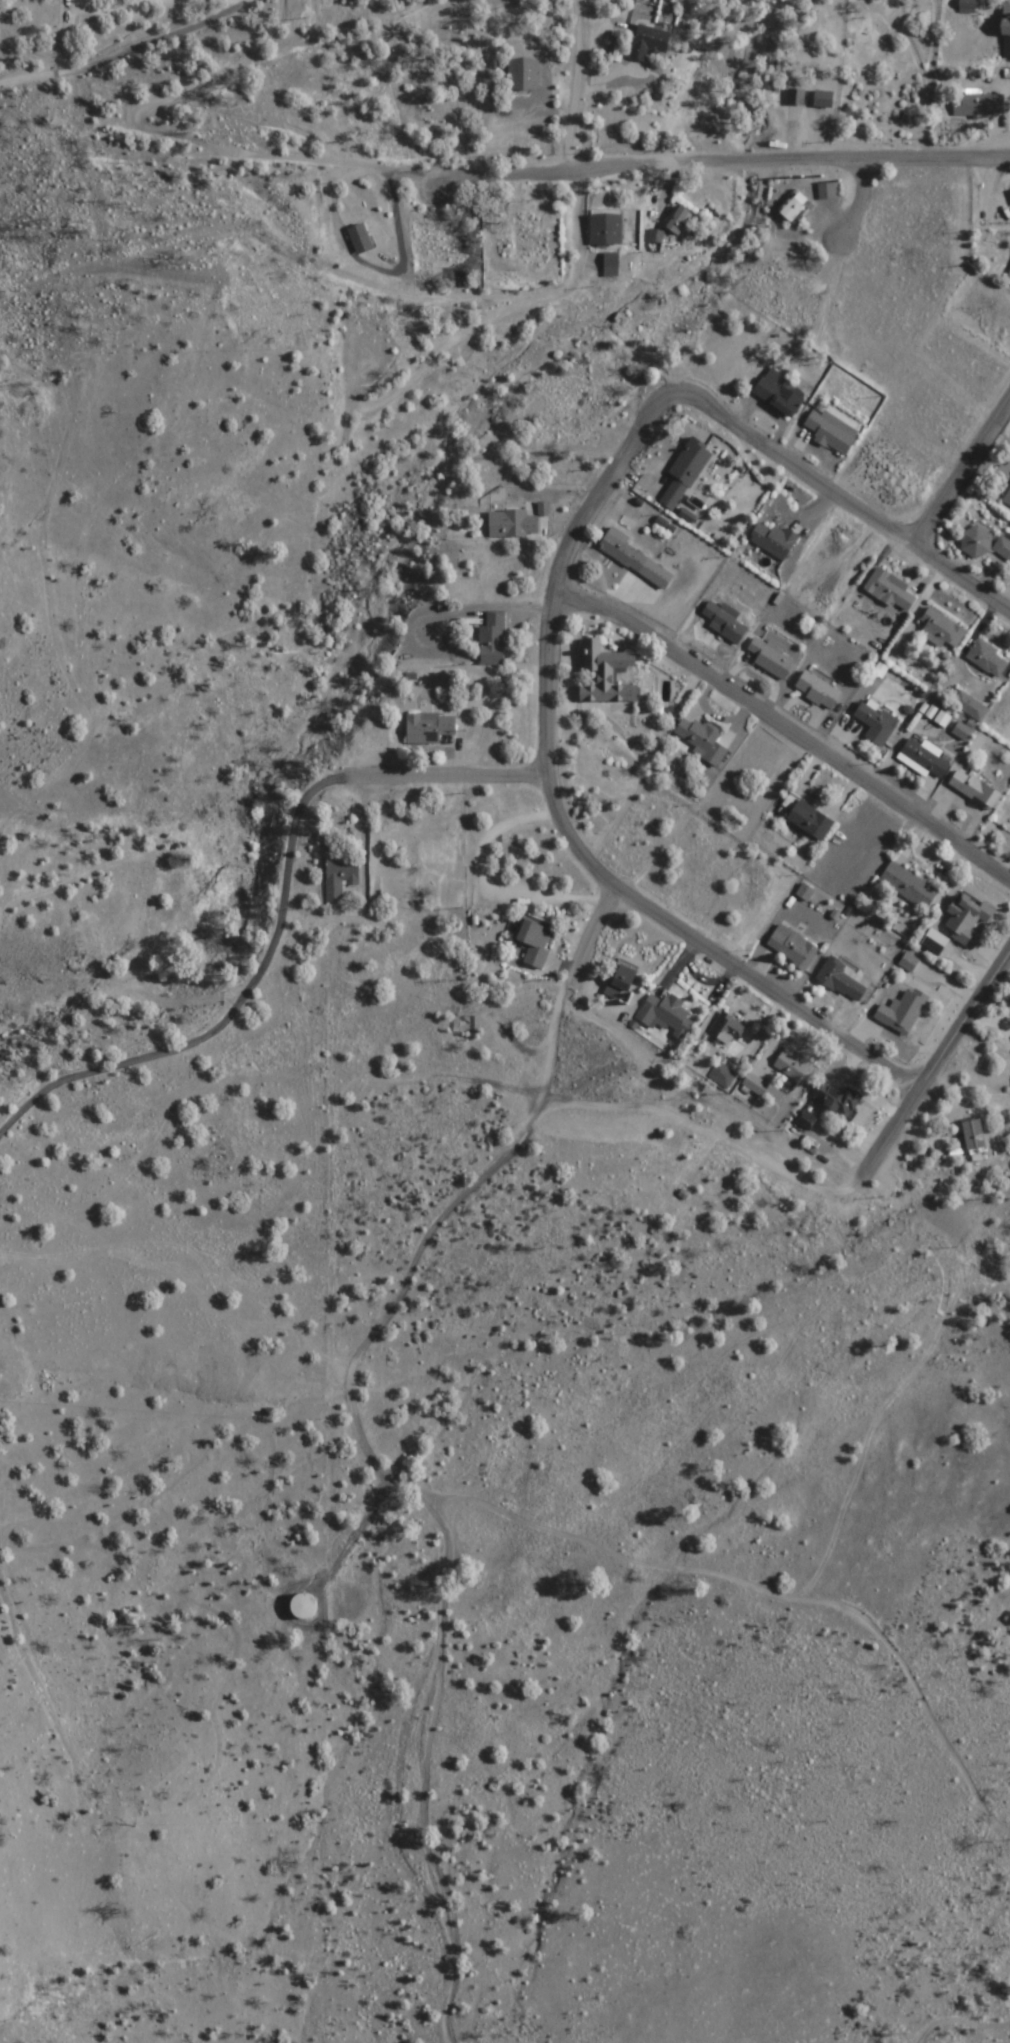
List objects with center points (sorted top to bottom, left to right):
building: (966, 6)
building: (1005, 31)
building: (648, 40)
road: (132, 52)
building: (522, 73)
road: (577, 82)
building: (977, 104)
building: (810, 105)
building: (224, 124)
road: (605, 165)
building: (677, 221)
building: (604, 229)
road: (863, 234)
building: (375, 241)
building: (517, 251)
building: (431, 253)
building: (1008, 277)
road: (365, 285)
building: (788, 290)
building: (365, 346)
building: (779, 392)
building: (572, 412)
building: (830, 431)
building: (682, 475)
road: (965, 477)
road: (841, 494)
building: (1007, 497)
building: (510, 524)
building: (773, 540)
building: (975, 542)
building: (1002, 548)
building: (623, 552)
building: (891, 590)
building: (724, 622)
building: (941, 629)
road: (548, 636)
building: (491, 639)
building: (770, 658)
building: (986, 658)
building: (606, 675)
building: (817, 690)
building: (970, 706)
road: (784, 723)
building: (875, 724)
building: (428, 728)
building: (701, 740)
building: (924, 760)
road: (456, 773)
building: (609, 777)
building: (973, 789)
building: (807, 818)
building: (439, 850)
building: (338, 877)
building: (907, 886)
building: (450, 898)
building: (966, 917)
building: (534, 941)
building: (934, 942)
building: (792, 947)
building: (840, 980)
building: (622, 981)
road: (770, 984)
road: (568, 986)
building: (902, 1012)
building: (666, 1016)
building: (726, 1030)
building: (791, 1064)
road: (929, 1071)
building: (722, 1075)
road: (265, 1079)
building: (755, 1085)
building: (837, 1100)
building: (806, 1120)
road: (443, 1526)
building: (302, 1605)

